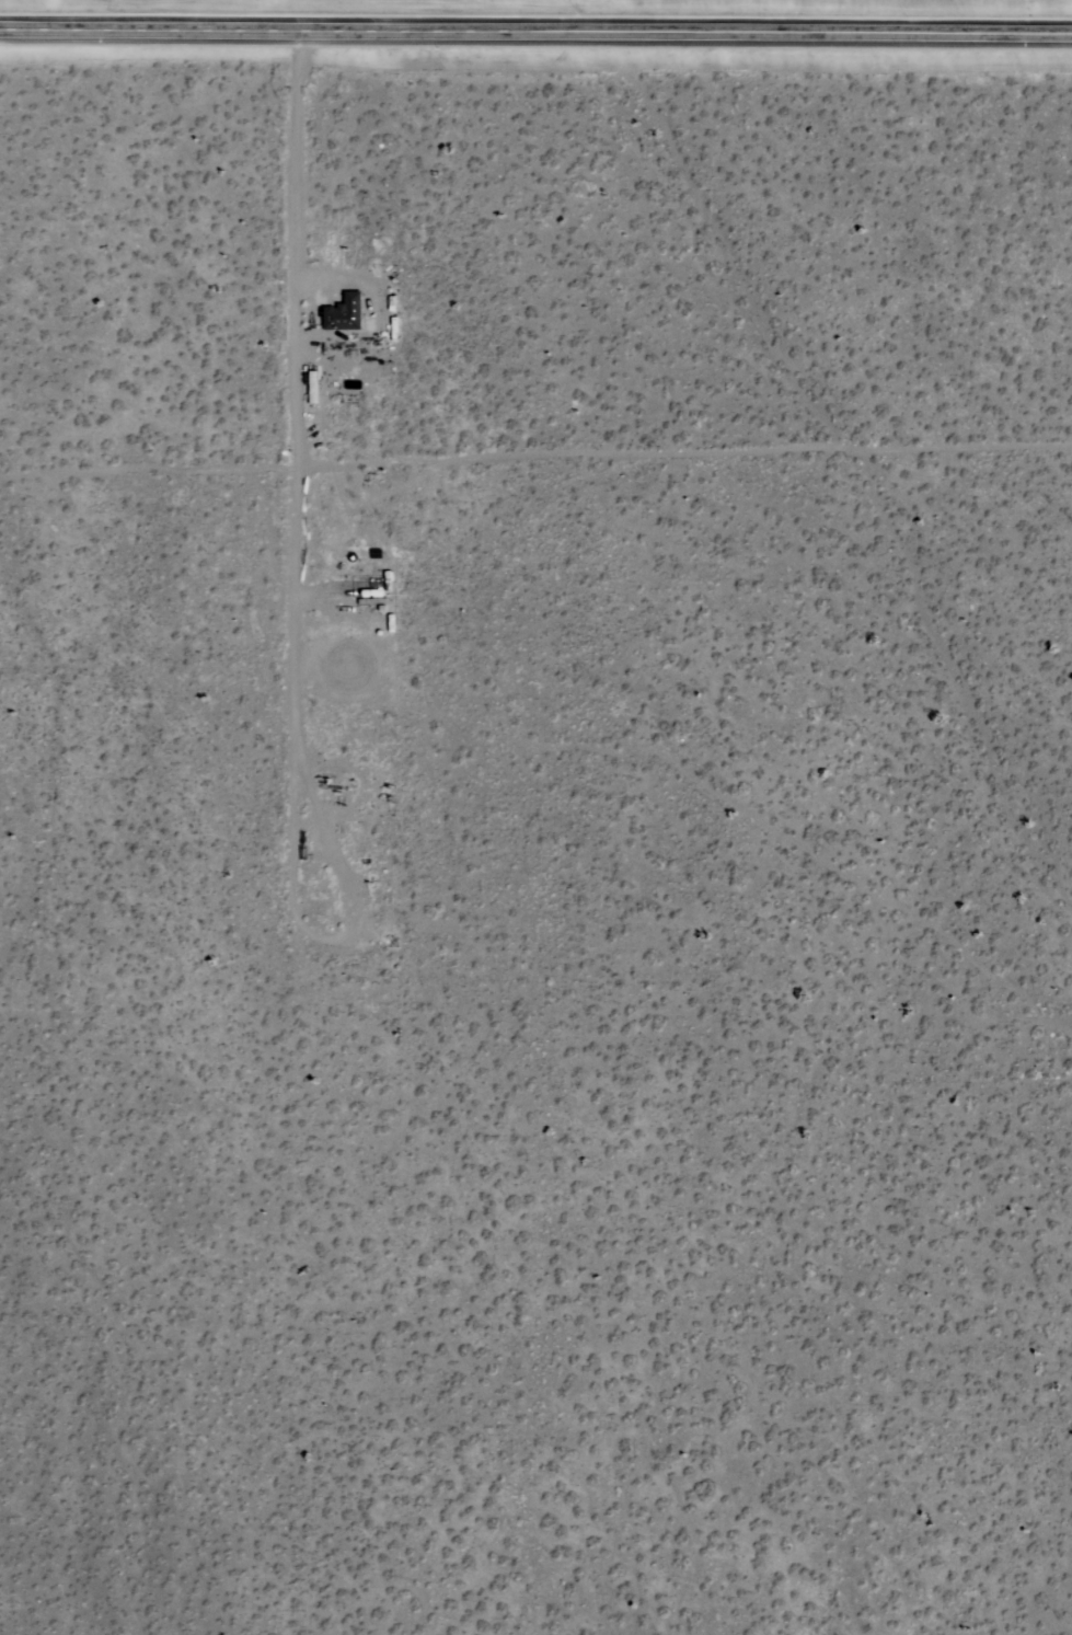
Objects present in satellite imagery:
road: (535, 30)
road: (293, 464)

